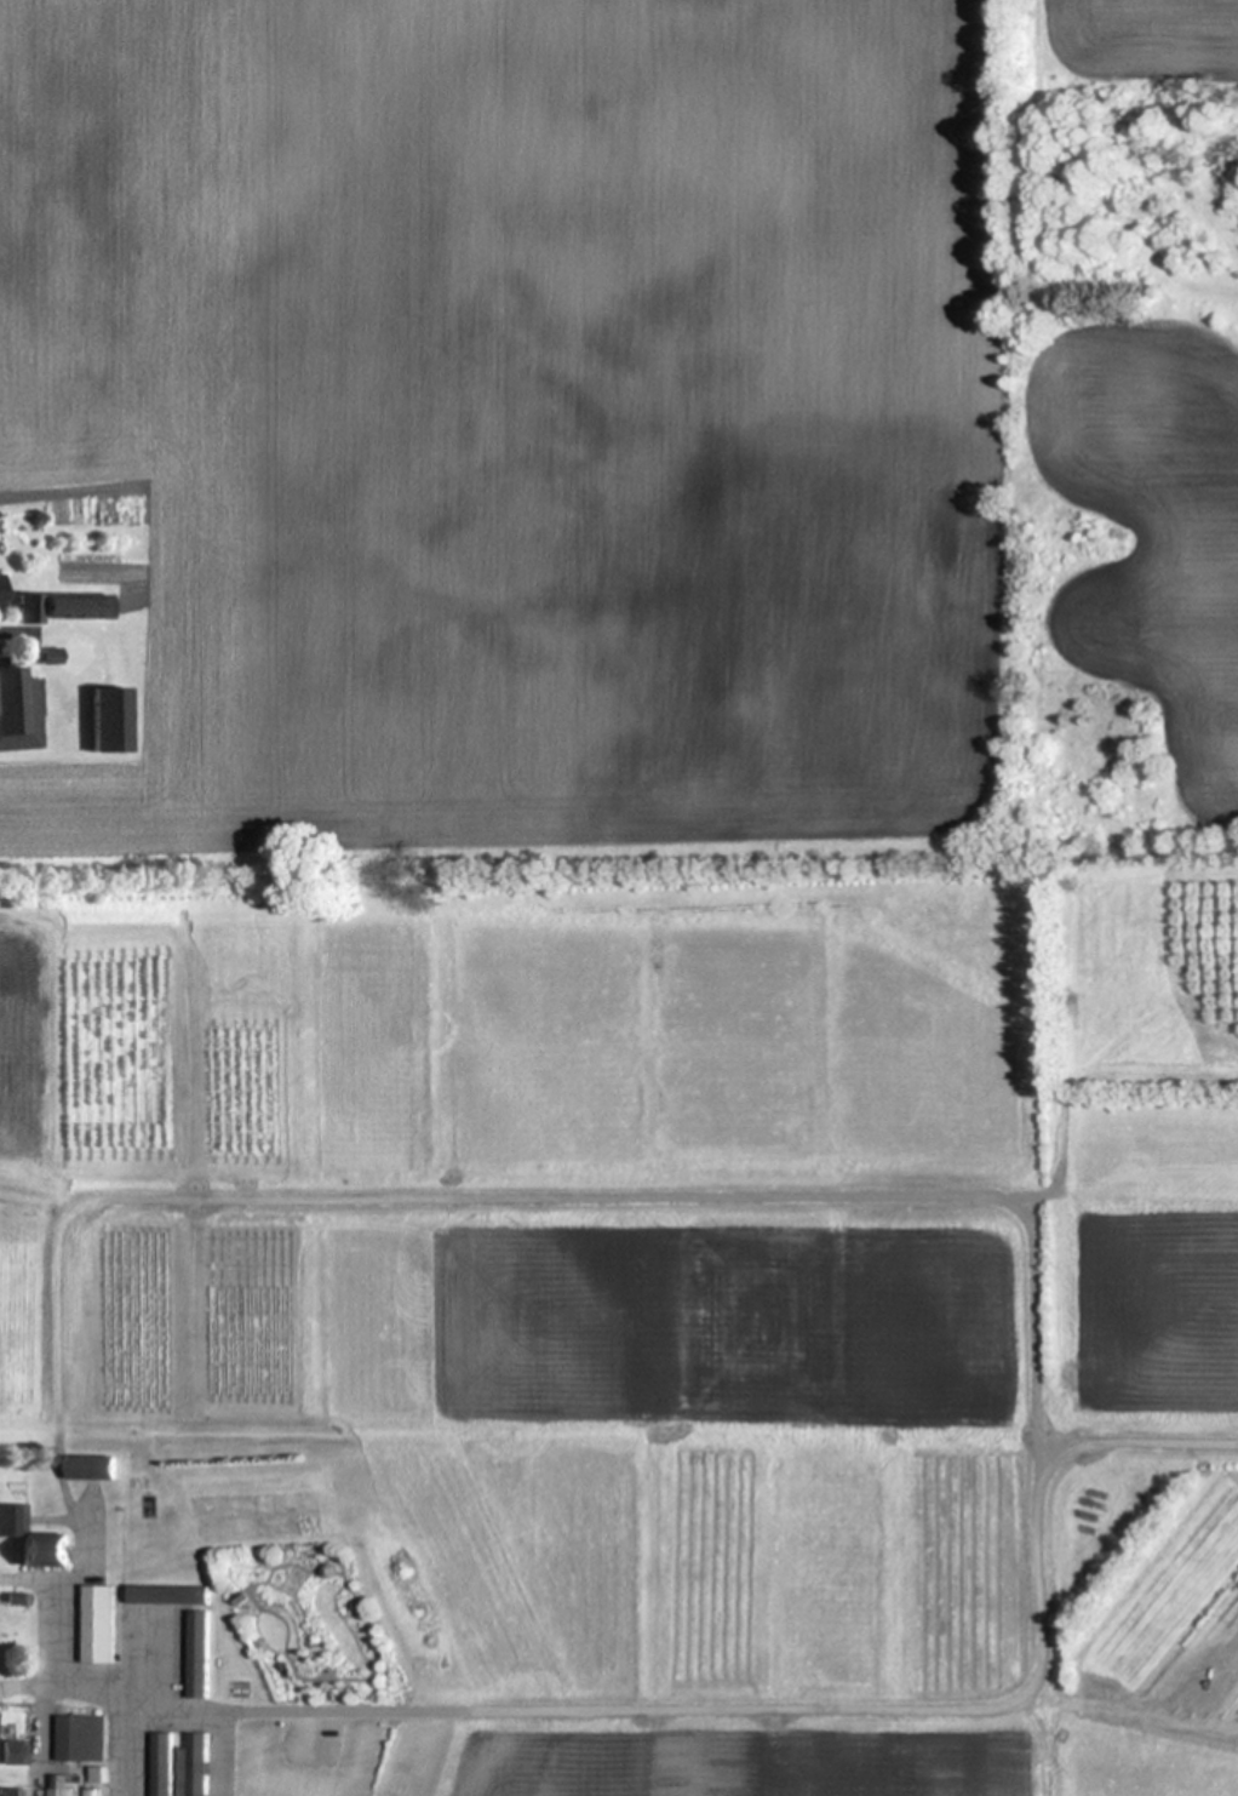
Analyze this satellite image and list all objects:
building: (1, 588)
building: (69, 605)
building: (51, 654)
building: (19, 709)
building: (110, 719)
crop: (620, 1328)
building: (93, 1468)
building: (12, 1518)
building: (46, 1550)
building: (170, 1594)
building: (99, 1624)
building: (200, 1654)
building: (131, 1663)
road: (1034, 1685)
road: (30, 1687)
building: (82, 1738)
building: (15, 1751)
building: (164, 1763)
building: (194, 1766)
building: (99, 1774)
building: (58, 1777)
building: (12, 1791)

